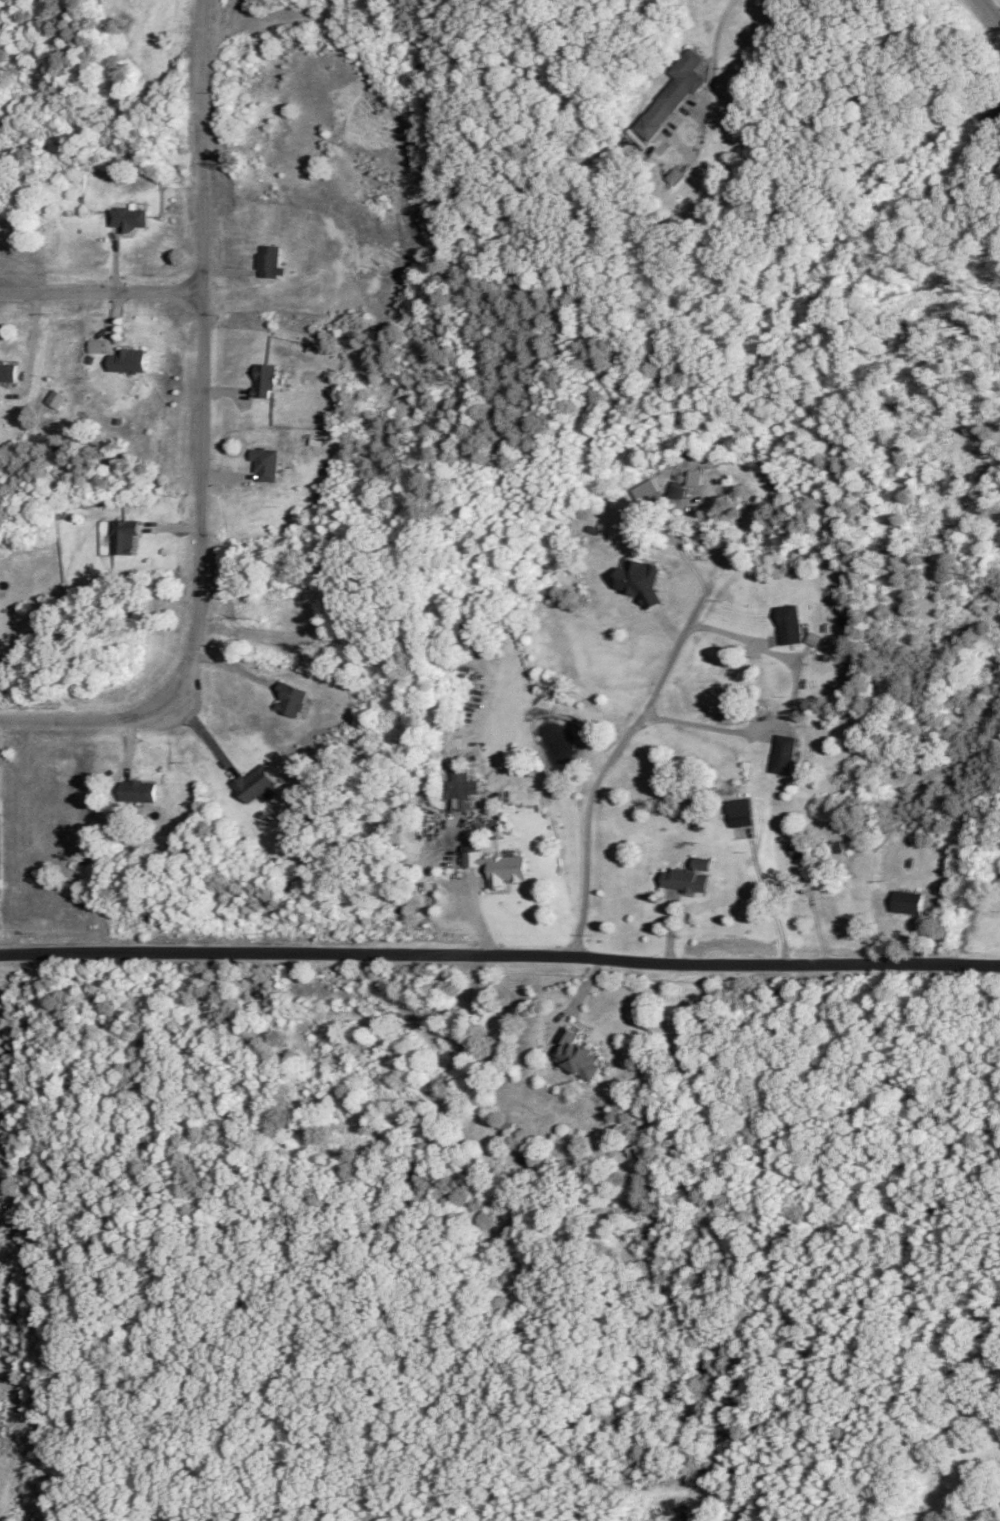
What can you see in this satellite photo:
road: (988, 12)
road: (713, 67)
building: (673, 92)
building: (127, 217)
building: (268, 260)
road: (101, 290)
road: (30, 340)
building: (96, 345)
building: (128, 359)
building: (7, 371)
building: (264, 378)
building: (55, 397)
road: (202, 442)
building: (265, 462)
building: (695, 477)
building: (677, 487)
building: (646, 489)
building: (123, 535)
building: (640, 580)
building: (789, 623)
building: (290, 698)
road: (788, 701)
road: (631, 725)
road: (204, 736)
building: (783, 753)
building: (255, 783)
building: (462, 785)
building: (138, 790)
building: (740, 811)
building: (797, 848)
building: (496, 864)
building: (688, 875)
road: (771, 899)
building: (908, 900)
road: (474, 910)
road: (500, 956)
road: (578, 998)
building: (578, 1055)

